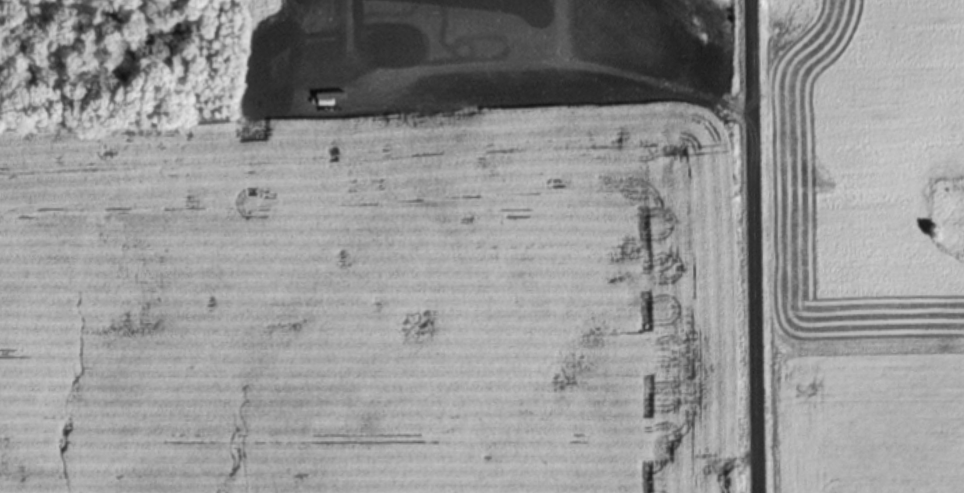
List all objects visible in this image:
road: (754, 246)

